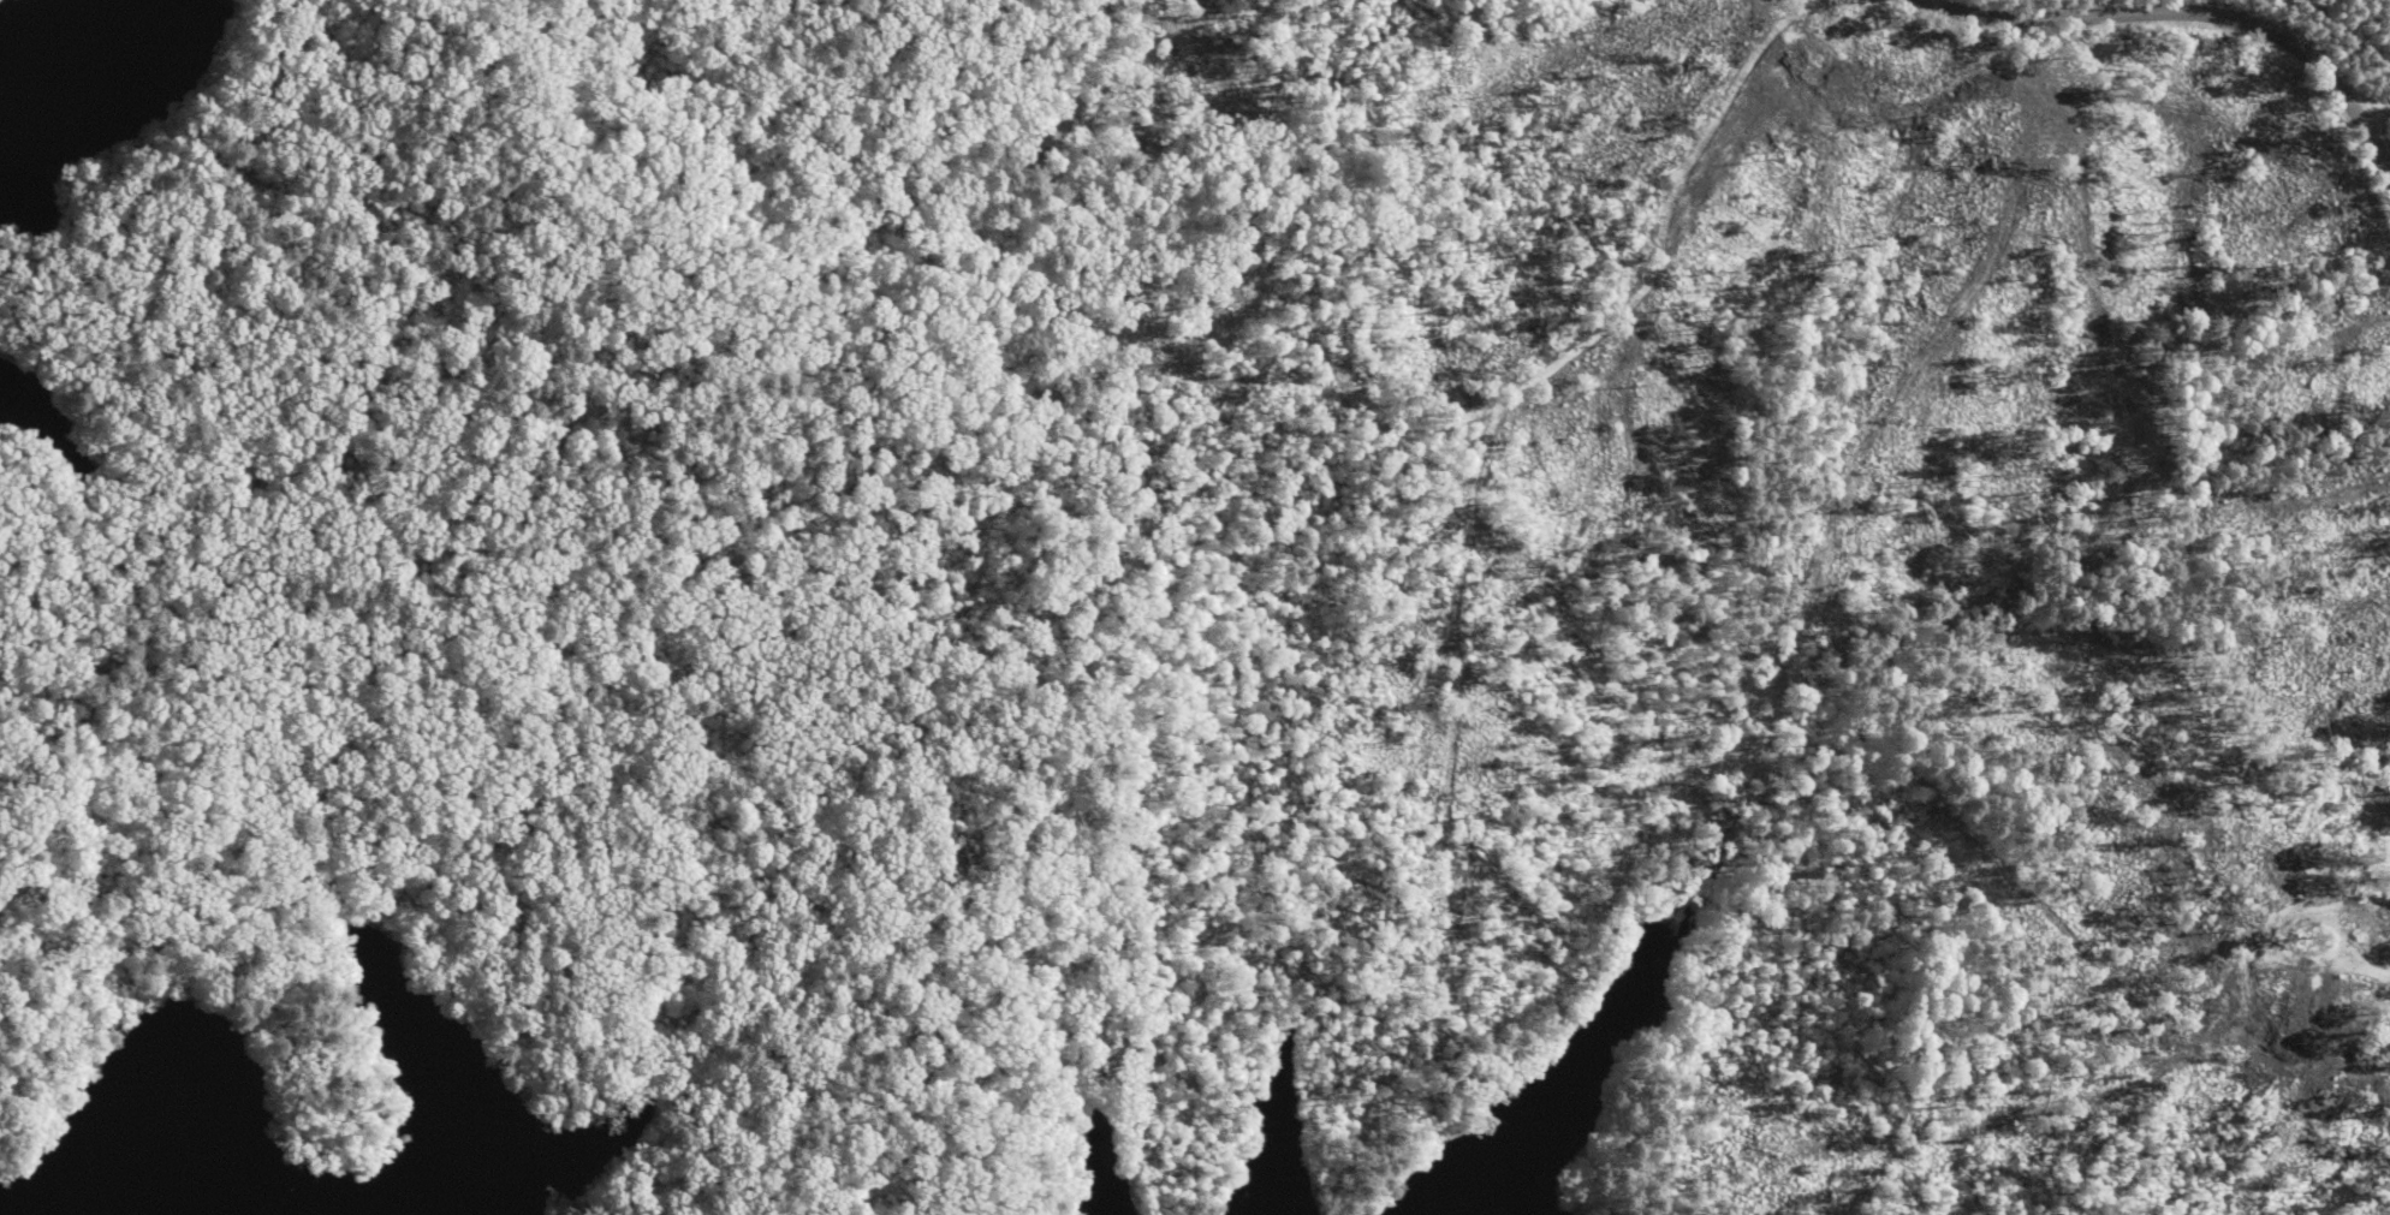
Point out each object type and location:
road: (2201, 25)

